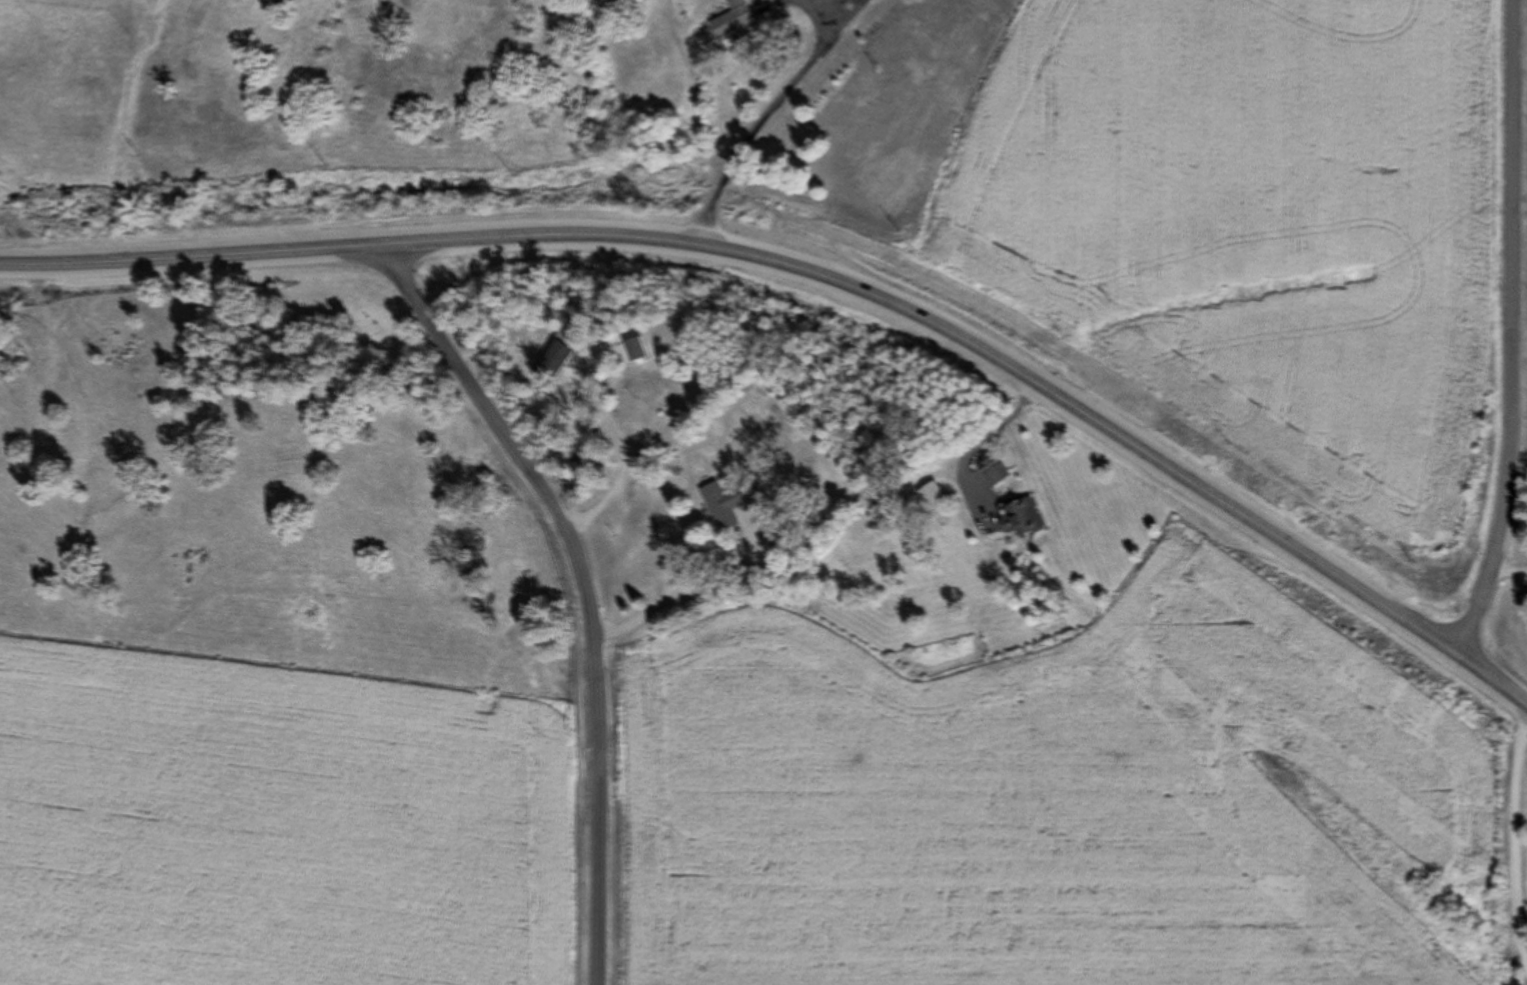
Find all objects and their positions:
building: (732, 20)
road: (764, 115)
road: (191, 257)
park: (317, 324)
road: (1509, 333)
building: (635, 350)
road: (995, 360)
building: (548, 363)
road: (602, 416)
road: (970, 450)
building: (605, 459)
building: (995, 472)
building: (931, 498)
building: (723, 506)
building: (1025, 519)
road: (1507, 567)
road: (678, 585)
road: (584, 587)
road: (1518, 839)

